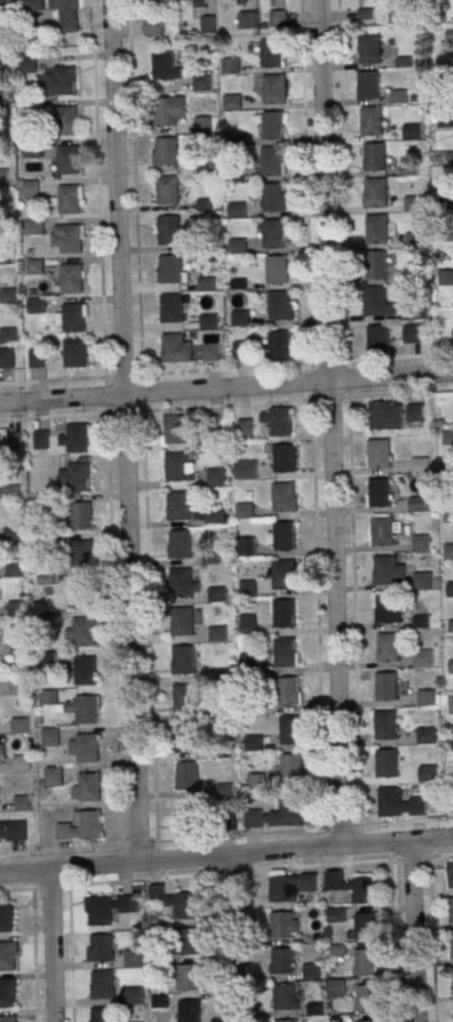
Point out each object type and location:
building: (160, 0)
building: (199, 3)
building: (29, 5)
building: (4, 9)
building: (397, 10)
building: (67, 13)
building: (278, 17)
building: (247, 19)
building: (208, 24)
building: (152, 26)
building: (450, 31)
building: (42, 33)
building: (372, 51)
building: (272, 55)
building: (28, 64)
building: (230, 65)
building: (164, 67)
building: (443, 81)
building: (65, 82)
building: (201, 82)
building: (369, 86)
building: (275, 90)
building: (400, 97)
building: (166, 113)
building: (446, 120)
building: (67, 122)
building: (372, 122)
building: (203, 123)
building: (274, 127)
building: (411, 133)
building: (167, 153)
building: (67, 159)
building: (376, 159)
building: (272, 163)
building: (4, 176)
building: (31, 189)
building: (168, 191)
building: (376, 194)
building: (274, 199)
building: (447, 199)
building: (70, 201)
building: (414, 205)
building: (236, 209)
building: (34, 227)
building: (378, 230)
building: (170, 232)
building: (275, 235)
building: (71, 241)
building: (415, 241)
building: (34, 266)
building: (377, 267)
building: (172, 271)
building: (278, 271)
building: (414, 277)
building: (446, 279)
building: (73, 280)
building: (7, 295)
building: (377, 304)
building: (36, 305)
building: (281, 307)
building: (173, 309)
building: (240, 317)
building: (73, 320)
building: (208, 321)
building: (412, 334)
building: (452, 334)
building: (8, 335)
building: (378, 341)
building: (280, 347)
building: (174, 350)
building: (210, 350)
building: (75, 355)
building: (36, 357)
road: (400, 357)
building: (6, 359)
road: (328, 362)
road: (244, 367)
road: (226, 387)
road: (155, 410)
building: (415, 412)
building: (385, 418)
road: (143, 421)
road: (106, 423)
building: (279, 423)
road: (330, 423)
building: (245, 429)
road: (122, 430)
building: (214, 432)
building: (177, 433)
building: (447, 437)
building: (77, 438)
building: (41, 439)
building: (10, 443)
building: (381, 456)
building: (285, 460)
building: (420, 467)
building: (177, 468)
building: (246, 471)
building: (73, 476)
building: (448, 477)
building: (215, 478)
building: (11, 494)
building: (380, 495)
building: (284, 499)
building: (45, 506)
building: (420, 506)
building: (179, 508)
building: (244, 512)
building: (448, 515)
building: (81, 518)
building: (214, 519)
building: (384, 533)
building: (13, 534)
building: (285, 538)
building: (45, 541)
building: (420, 543)
building: (180, 546)
building: (246, 546)
building: (448, 554)
building: (82, 556)
building: (211, 558)
building: (15, 571)
building: (388, 572)
building: (284, 576)
building: (46, 581)
building: (422, 582)
building: (182, 585)
building: (248, 589)
building: (450, 591)
building: (82, 595)
building: (217, 596)
building: (16, 609)
building: (387, 610)
road: (353, 611)
road: (317, 614)
building: (285, 616)
building: (47, 620)
building: (422, 622)
building: (183, 623)
building: (248, 625)
building: (85, 634)
building: (218, 635)
building: (388, 649)
building: (18, 651)
building: (286, 654)
building: (48, 658)
building: (249, 660)
building: (423, 660)
building: (184, 662)
building: (451, 667)
building: (86, 672)
building: (220, 676)
building: (19, 688)
building: (388, 689)
building: (289, 693)
building: (49, 699)
building: (426, 699)
building: (184, 700)
building: (452, 705)
building: (253, 706)
building: (87, 712)
building: (222, 712)
building: (20, 727)
building: (387, 727)
building: (292, 731)
building: (427, 737)
building: (51, 738)
building: (186, 739)
building: (253, 743)
building: (88, 750)
building: (223, 751)
building: (2, 752)
building: (21, 764)
building: (387, 765)
building: (292, 770)
building: (54, 777)
building: (188, 779)
building: (256, 782)
building: (90, 789)
building: (225, 791)
building: (23, 804)
building: (391, 804)
building: (292, 812)
building: (189, 817)
building: (225, 819)
building: (81, 826)
building: (14, 833)
road: (226, 837)
road: (226, 854)
road: (333, 864)
building: (450, 875)
road: (106, 883)
building: (280, 888)
building: (363, 890)
building: (185, 905)
building: (450, 910)
building: (99, 911)
building: (337, 914)
building: (6, 917)
building: (281, 924)
building: (366, 925)
road: (413, 931)
road: (233, 937)
road: (432, 939)
road: (396, 941)
building: (187, 942)
road: (52, 945)
road: (252, 946)
building: (451, 947)
building: (101, 948)
road: (216, 948)
road: (70, 954)
building: (7, 956)
road: (33, 956)
building: (133, 958)
building: (283, 960)
building: (365, 962)
building: (312, 971)
building: (188, 977)
building: (452, 977)
building: (102, 984)
building: (338, 986)
building: (7, 992)
building: (134, 995)
building: (284, 996)
building: (367, 998)
building: (315, 1008)
building: (189, 1011)
building: (102, 1015)
building: (8, 1019)
building: (287, 1020)
building: (367, 1021)

